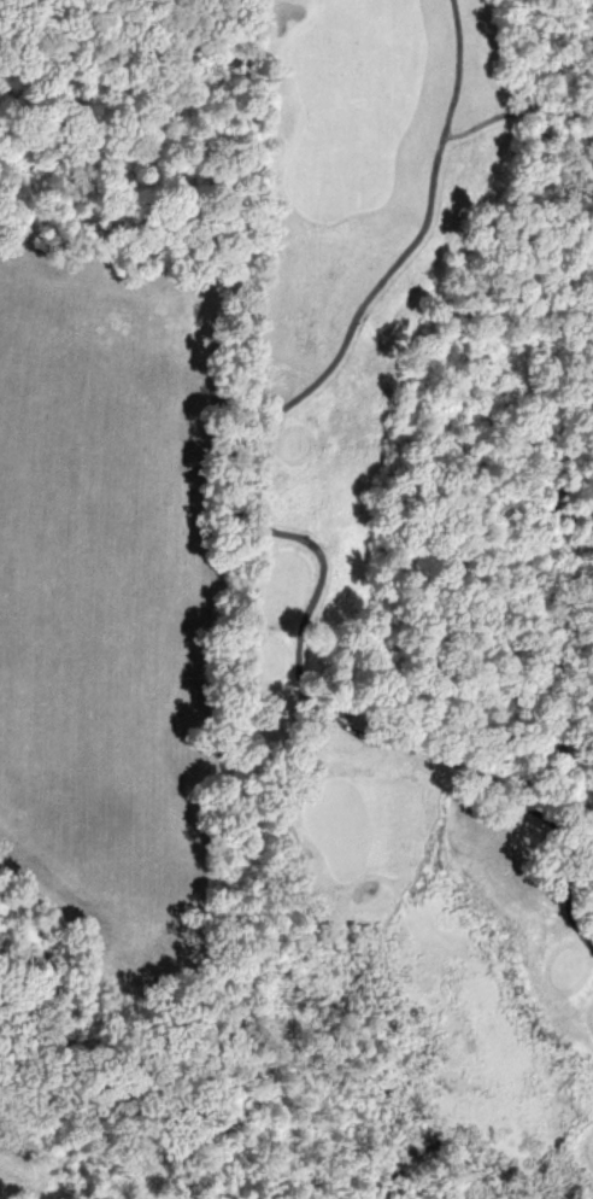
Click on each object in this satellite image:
road: (251, 498)
park: (407, 579)
road: (570, 907)

